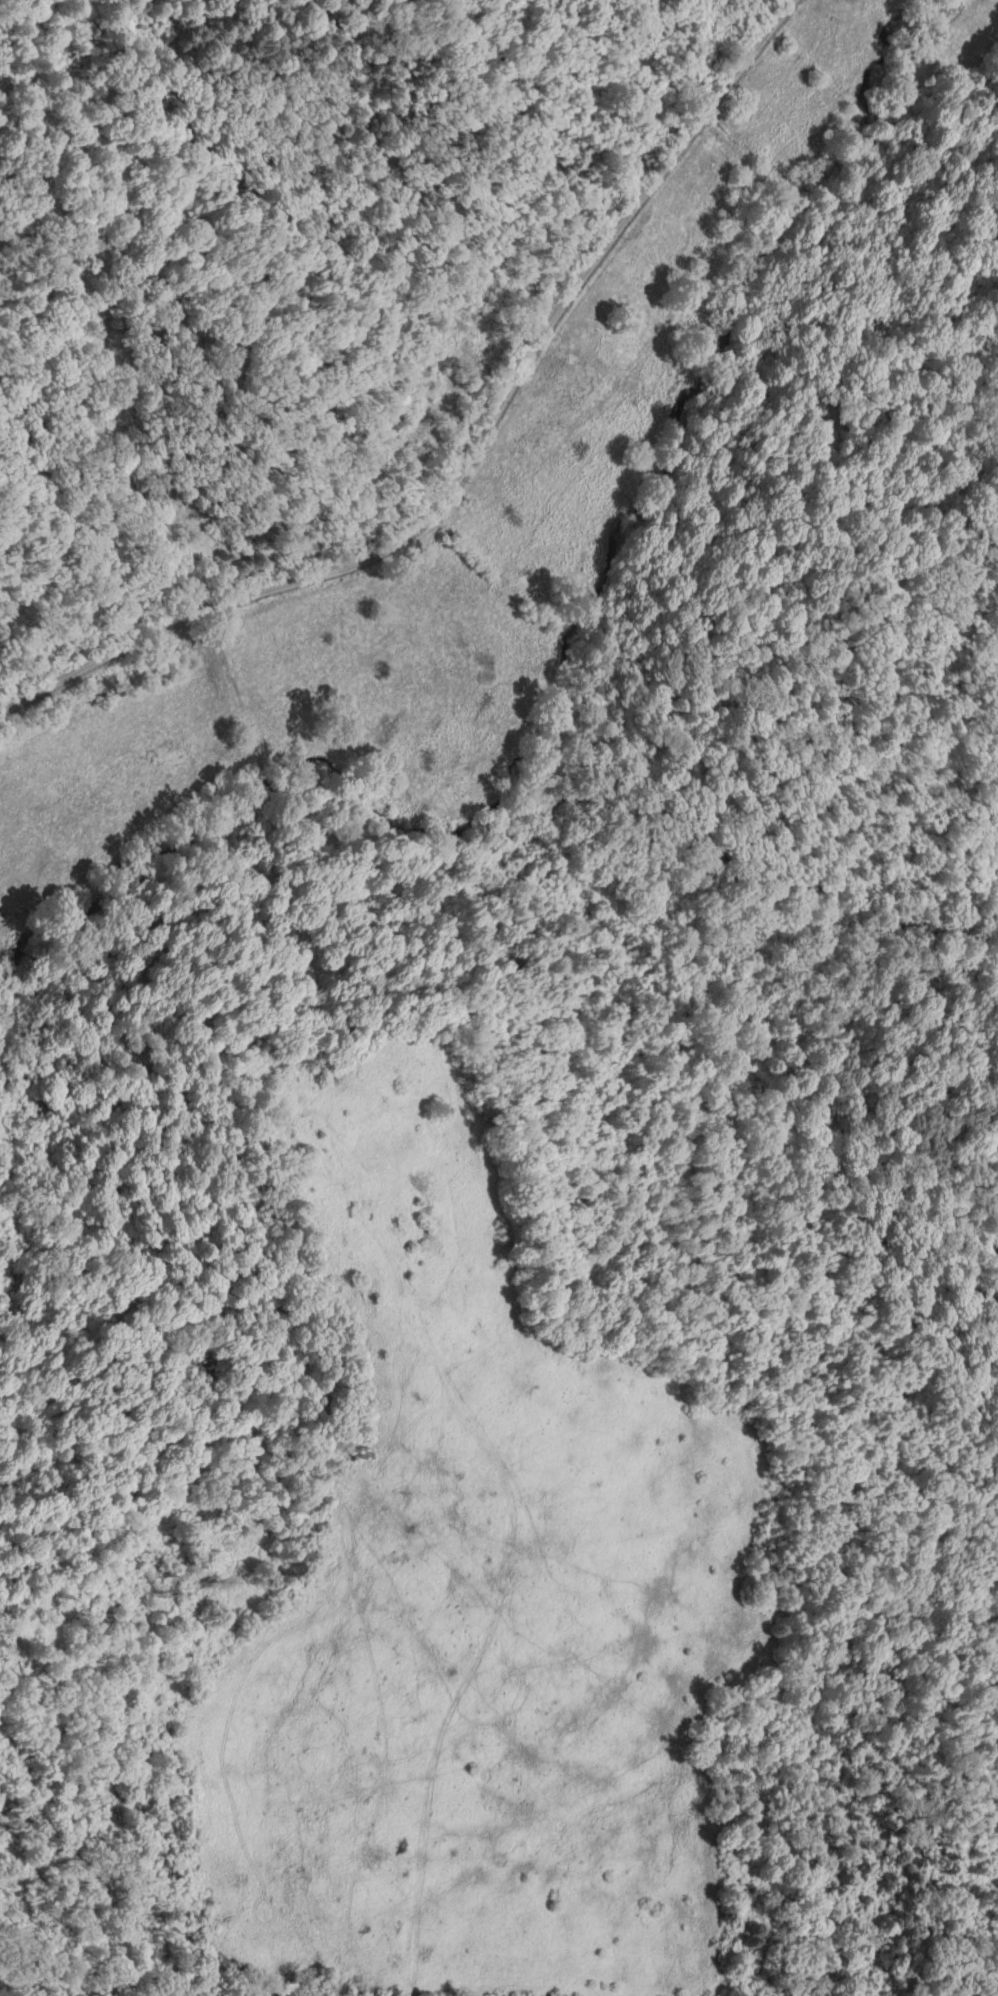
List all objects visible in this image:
road: (479, 453)

